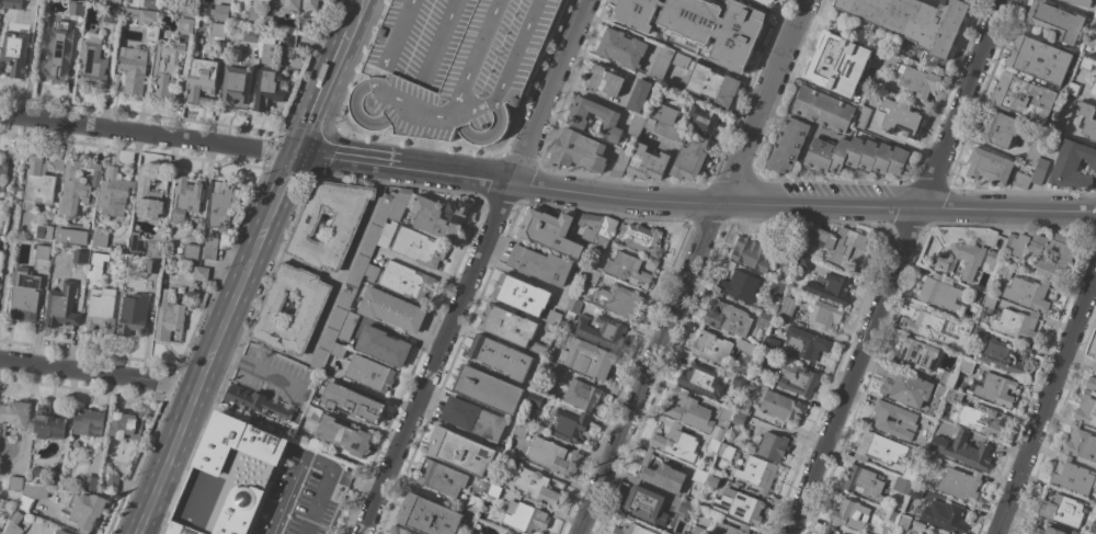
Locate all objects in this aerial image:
building: (328, 0)
building: (331, 0)
building: (0, 2)
building: (113, 2)
building: (769, 2)
building: (1081, 2)
building: (150, 3)
building: (12, 4)
building: (292, 4)
building: (310, 4)
building: (185, 8)
building: (76, 9)
building: (214, 11)
building: (254, 14)
road: (355, 14)
building: (111, 15)
building: (142, 15)
building: (914, 20)
building: (1053, 20)
building: (186, 26)
building: (699, 26)
building: (218, 30)
building: (251, 34)
building: (1092, 36)
building: (288, 39)
building: (621, 48)
building: (14, 53)
building: (58, 53)
road: (34, 58)
building: (1039, 59)
building: (681, 60)
building: (661, 61)
building: (92, 63)
building: (836, 64)
building: (1086, 65)
building: (0, 66)
building: (167, 67)
building: (452, 67)
parking garage: (452, 67)
building: (133, 68)
building: (203, 79)
building: (269, 79)
building: (604, 80)
building: (918, 80)
building: (878, 81)
building: (712, 84)
building: (236, 86)
building: (1074, 88)
building: (1094, 89)
road: (322, 91)
building: (653, 91)
building: (639, 94)
building: (1024, 96)
building: (823, 110)
building: (663, 113)
road: (13, 114)
building: (863, 117)
building: (575, 118)
building: (902, 118)
building: (1088, 118)
building: (703, 121)
building: (1061, 121)
building: (636, 125)
building: (1000, 128)
building: (665, 129)
road: (160, 135)
building: (1053, 138)
road: (899, 141)
building: (788, 145)
building: (578, 150)
building: (1035, 152)
traffic signals: (296, 155)
building: (855, 156)
building: (689, 160)
building: (647, 162)
building: (620, 163)
building: (990, 166)
building: (1073, 166)
building: (2, 168)
road: (403, 168)
building: (1040, 171)
building: (1021, 179)
building: (41, 181)
building: (0, 186)
building: (77, 186)
parking lot: (837, 190)
building: (114, 193)
building: (1, 194)
building: (147, 197)
building: (186, 197)
building: (224, 204)
building: (400, 204)
road: (802, 204)
road: (13, 206)
building: (438, 216)
building: (345, 221)
building: (591, 226)
building: (389, 229)
building: (44, 231)
building: (550, 231)
building: (72, 232)
building: (604, 236)
building: (100, 238)
building: (643, 238)
building: (137, 243)
building: (838, 243)
building: (419, 247)
building: (155, 248)
building: (42, 251)
building: (192, 251)
building: (1046, 251)
building: (209, 252)
building: (752, 252)
road: (253, 253)
building: (79, 257)
building: (790, 257)
building: (993, 260)
road: (299, 262)
building: (806, 262)
building: (944, 263)
building: (540, 264)
building: (98, 265)
building: (151, 266)
road: (692, 266)
road: (897, 266)
road: (475, 268)
building: (630, 269)
road: (427, 270)
building: (1004, 271)
building: (201, 273)
building: (370, 273)
building: (590, 274)
building: (353, 280)
building: (406, 281)
building: (993, 284)
building: (740, 286)
building: (776, 288)
building: (831, 288)
building: (941, 293)
building: (1028, 293)
building: (521, 294)
building: (24, 295)
building: (979, 297)
building: (615, 300)
building: (990, 302)
road: (331, 304)
building: (574, 305)
building: (61, 306)
building: (786, 308)
building: (100, 309)
building: (390, 309)
building: (309, 310)
building: (134, 313)
building: (824, 315)
building: (170, 316)
building: (728, 317)
building: (552, 320)
building: (764, 320)
building: (507, 325)
building: (1017, 325)
building: (347, 327)
building: (935, 329)
building: (971, 330)
building: (601, 331)
building: (806, 343)
building: (772, 344)
building: (383, 345)
building: (721, 348)
building: (537, 349)
building: (339, 350)
building: (918, 354)
building: (1003, 355)
building: (501, 356)
building: (969, 356)
building: (587, 359)
building: (967, 365)
building: (1094, 365)
road: (252, 368)
building: (551, 368)
road: (204, 370)
road: (77, 371)
building: (369, 373)
building: (755, 375)
building: (947, 377)
building: (701, 380)
building: (798, 382)
building: (739, 383)
building: (1091, 383)
road: (175, 384)
building: (905, 387)
building: (488, 389)
building: (995, 389)
building: (941, 391)
building: (581, 395)
building: (954, 396)
building: (535, 399)
building: (352, 402)
road: (1046, 404)
building: (780, 405)
building: (744, 407)
building: (261, 408)
building: (1086, 409)
building: (688, 411)
building: (313, 414)
building: (14, 416)
building: (724, 416)
building: (739, 418)
building: (473, 419)
building: (894, 419)
building: (981, 420)
building: (88, 422)
building: (48, 424)
building: (570, 425)
building: (126, 427)
building: (522, 430)
building: (343, 435)
building: (676, 443)
building: (1081, 443)
building: (712, 444)
building: (773, 446)
building: (882, 448)
building: (963, 450)
building: (460, 451)
building: (729, 453)
building: (549, 455)
building: (928, 459)
road: (165, 461)
road: (309, 461)
building: (36, 471)
building: (756, 473)
building: (909, 474)
building: (670, 475)
building: (1073, 476)
building: (54, 478)
building: (442, 478)
building: (227, 479)
building: (712, 481)
building: (15, 482)
building: (90, 482)
building: (111, 482)
road: (353, 482)
building: (864, 482)
building: (960, 484)
building: (534, 486)
building: (902, 486)
building: (493, 490)
building: (916, 491)
parking lot: (302, 495)
building: (32, 496)
building: (475, 503)
building: (648, 505)
building: (739, 507)
building: (687, 508)
building: (1094, 509)
building: (88, 510)
building: (1062, 510)
building: (850, 514)
building: (427, 515)
building: (525, 516)
building: (945, 516)
building: (892, 518)
building: (903, 522)
building: (830, 527)
building: (13, 529)
building: (730, 529)
building: (398, 530)
building: (632, 530)
building: (697, 530)
building: (1047, 531)
building: (61, 532)
building: (0, 533)
building: (686, 533)
building: (837, 533)
building: (921, 533)
building: (1082, 533)

